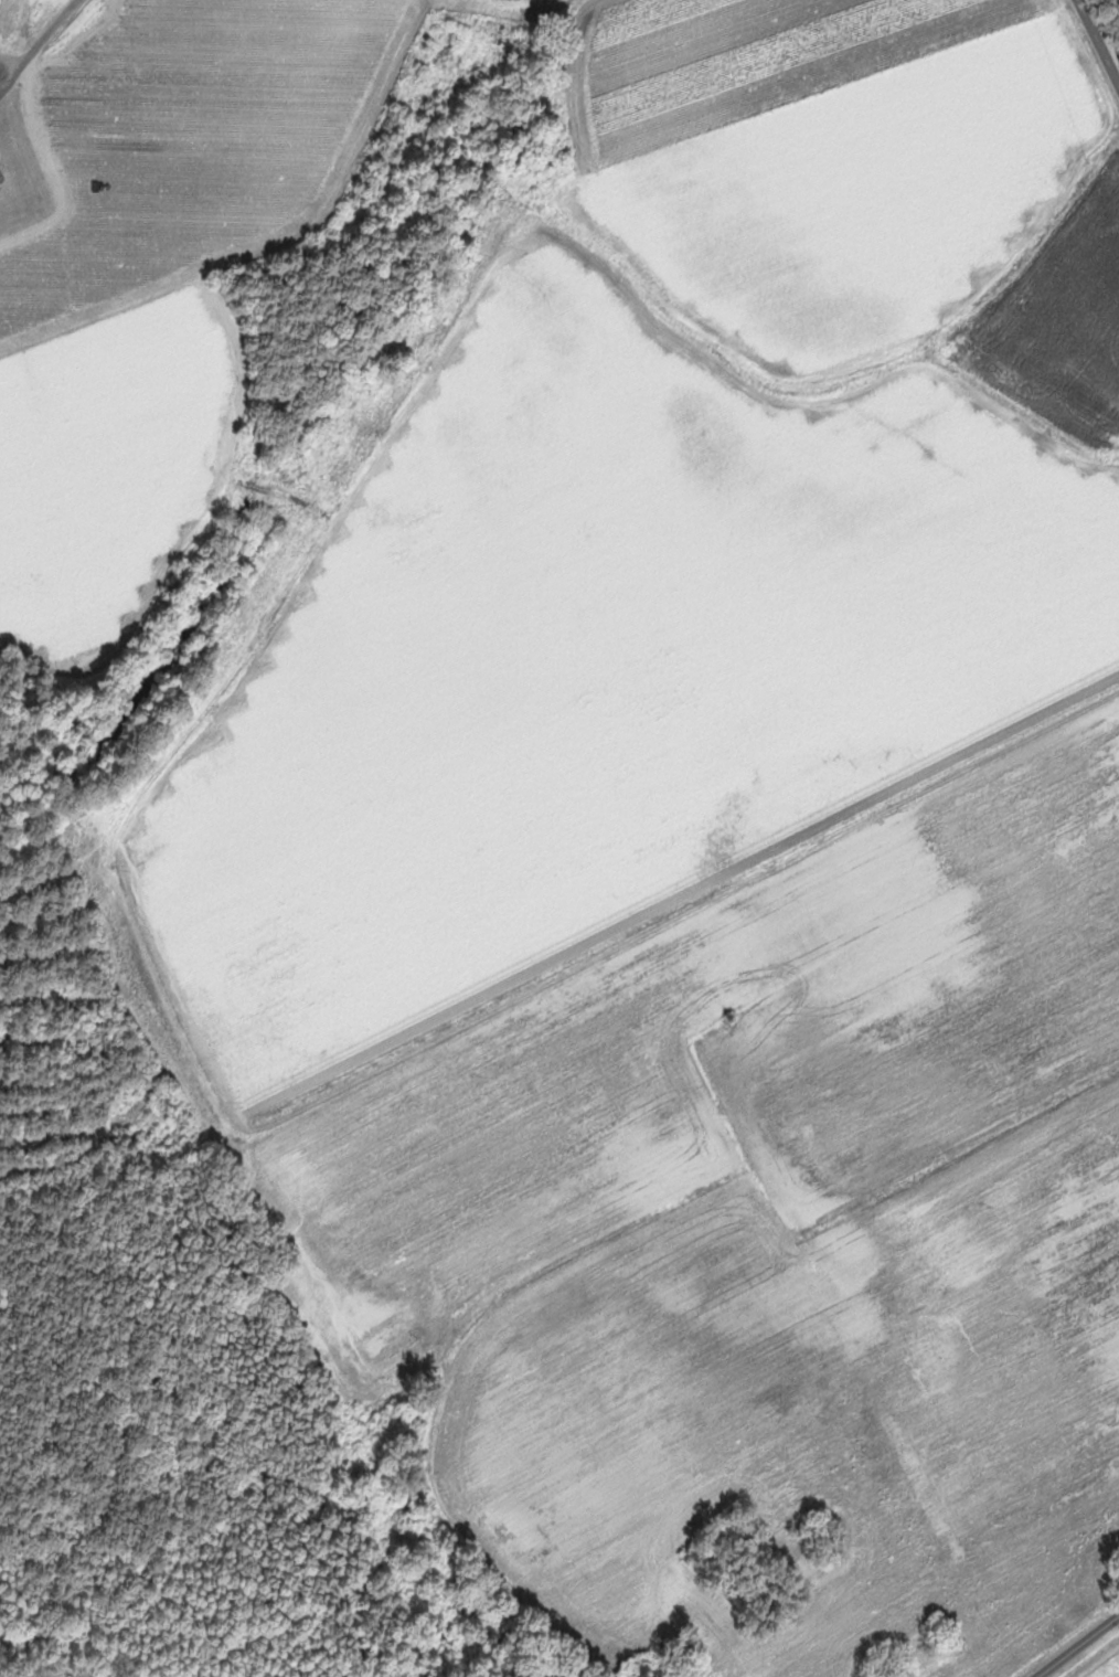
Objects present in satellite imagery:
road: (1098, 41)
road: (1081, 1648)

